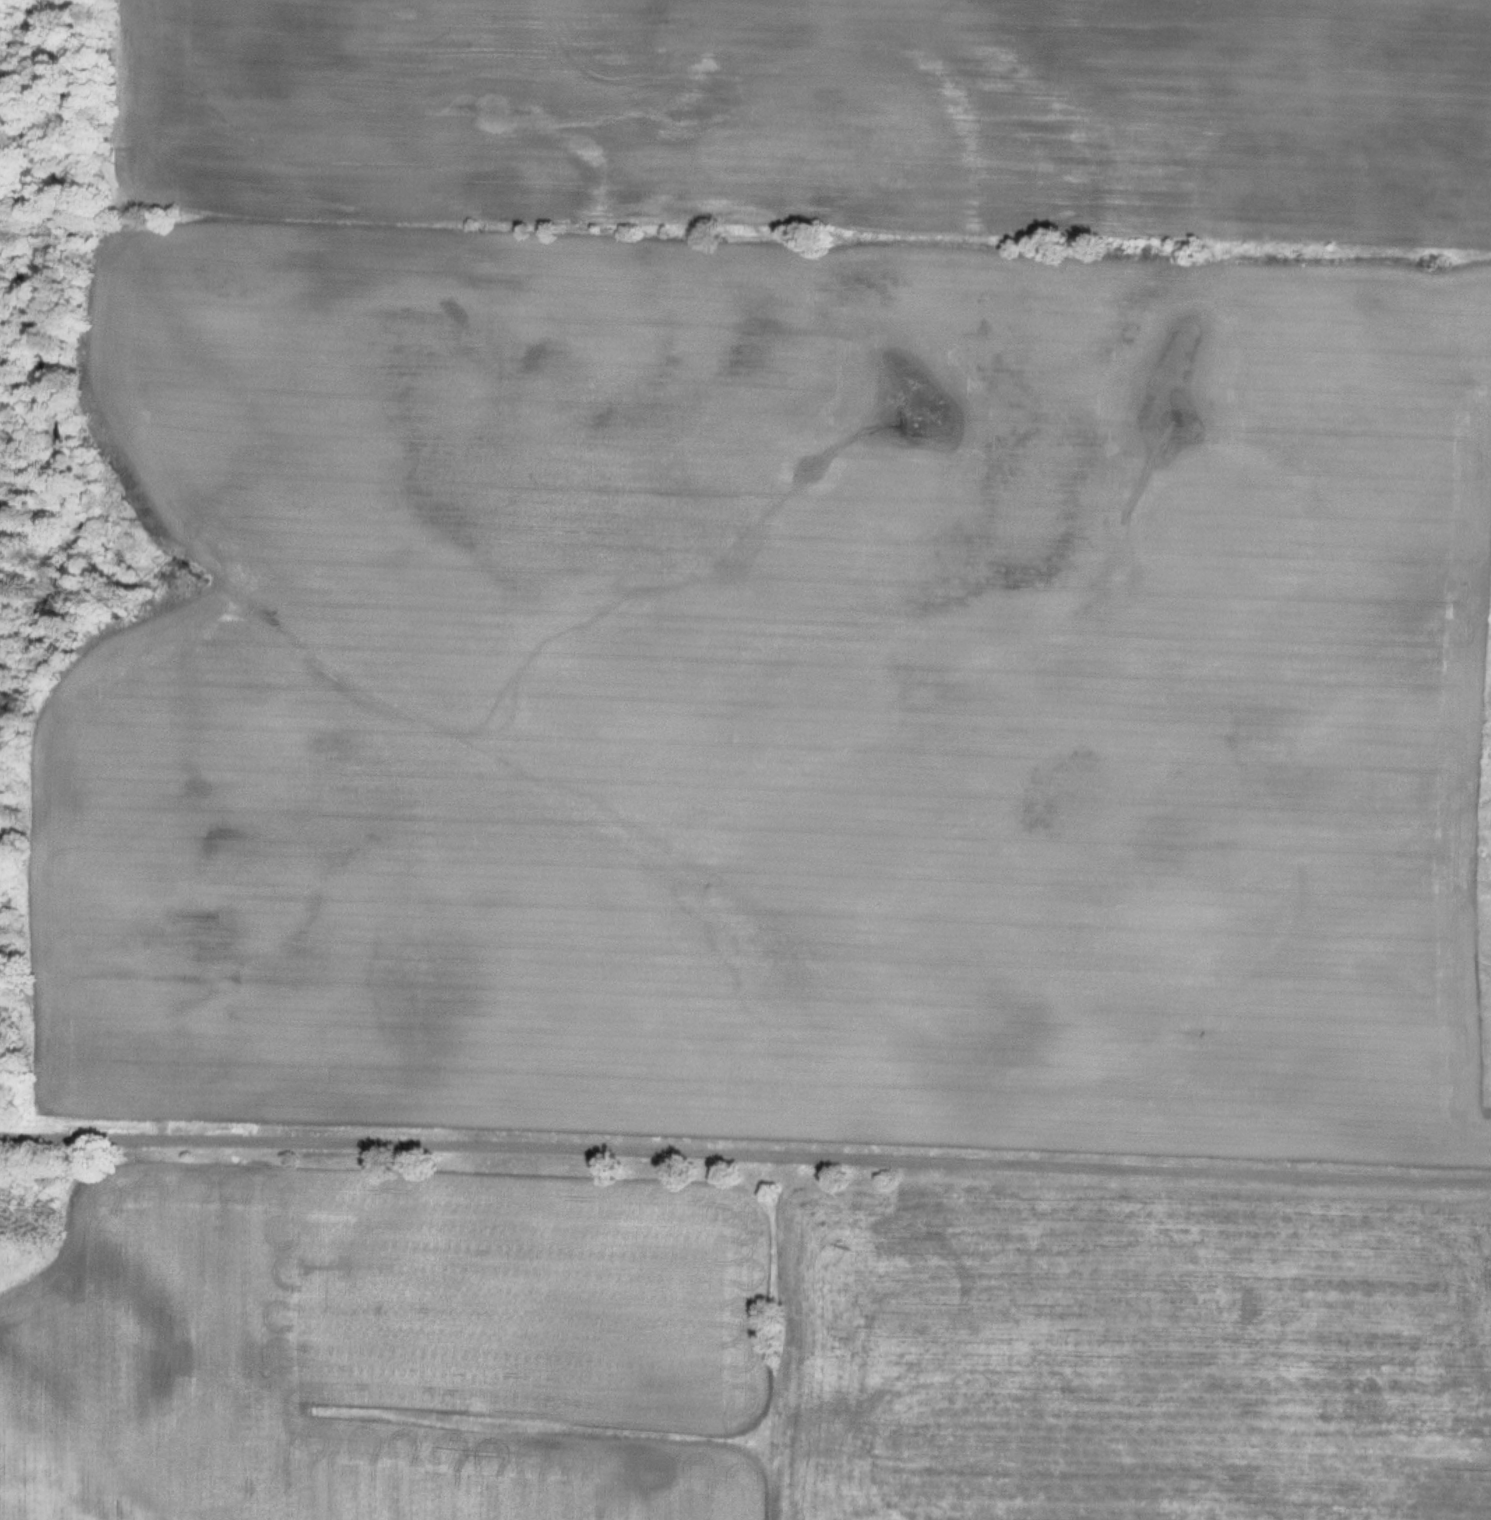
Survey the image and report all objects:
road: (745, 1156)

